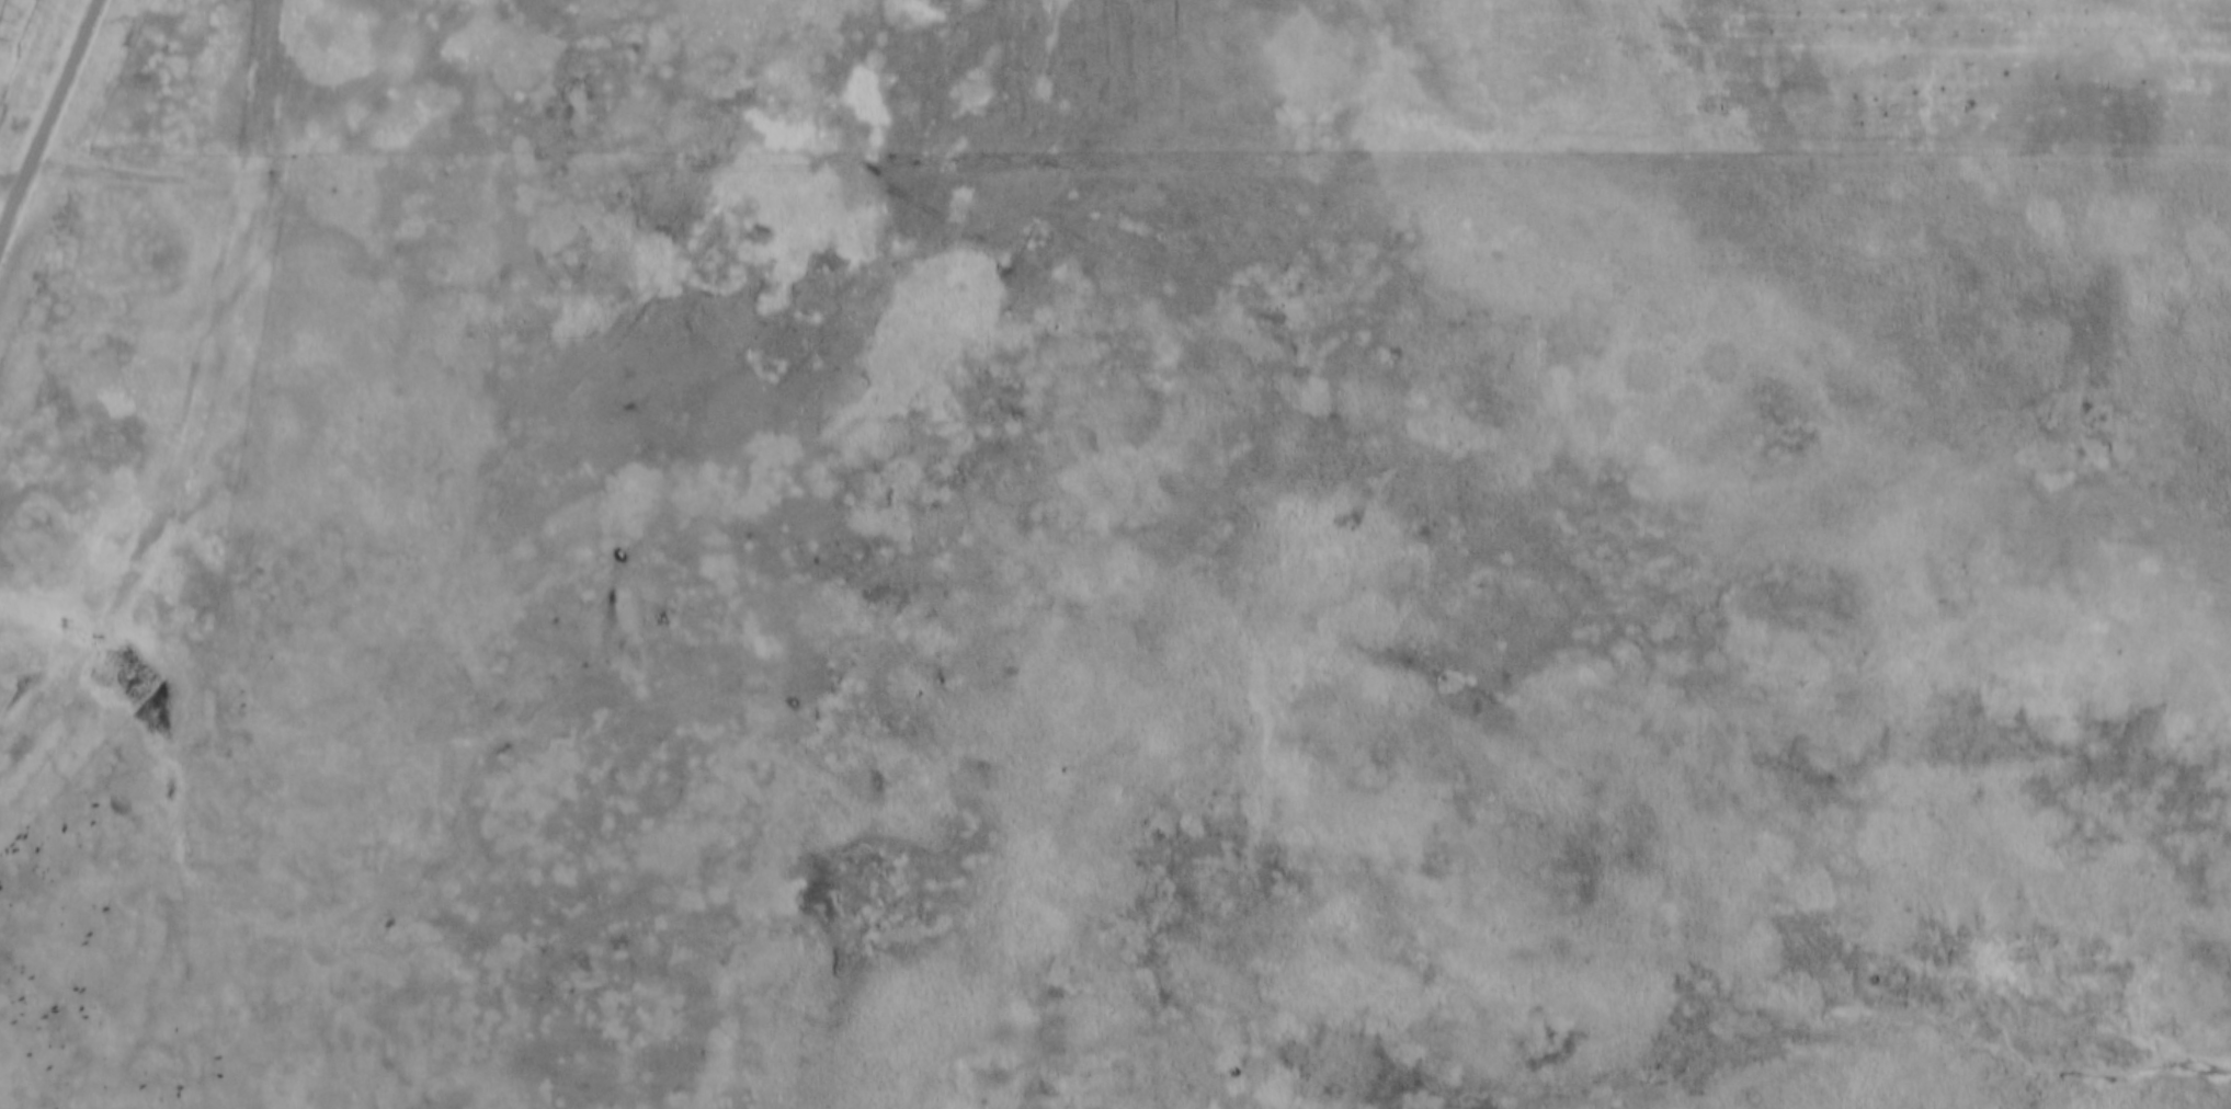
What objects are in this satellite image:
road: (48, 121)

